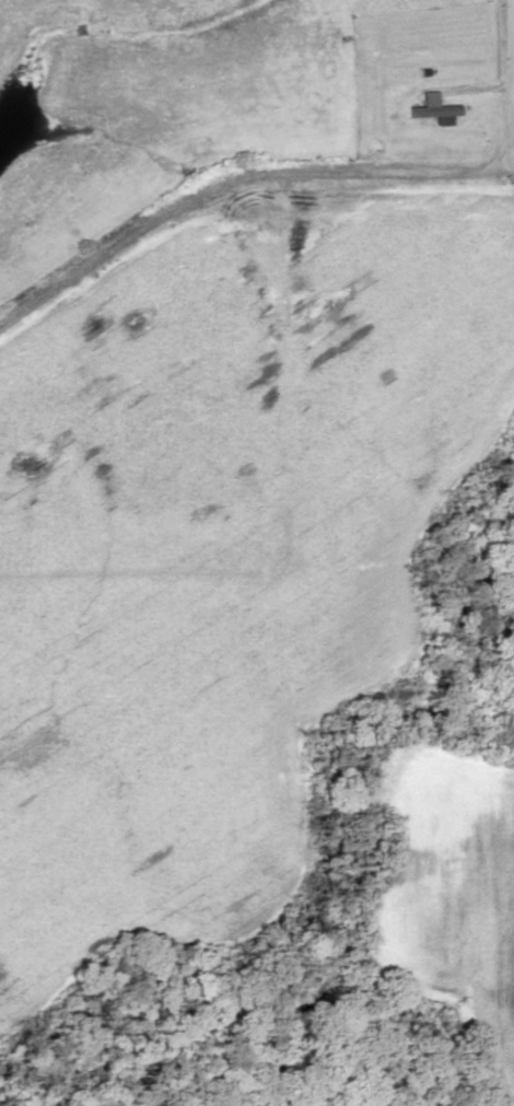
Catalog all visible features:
road: (512, 78)
building: (433, 108)

